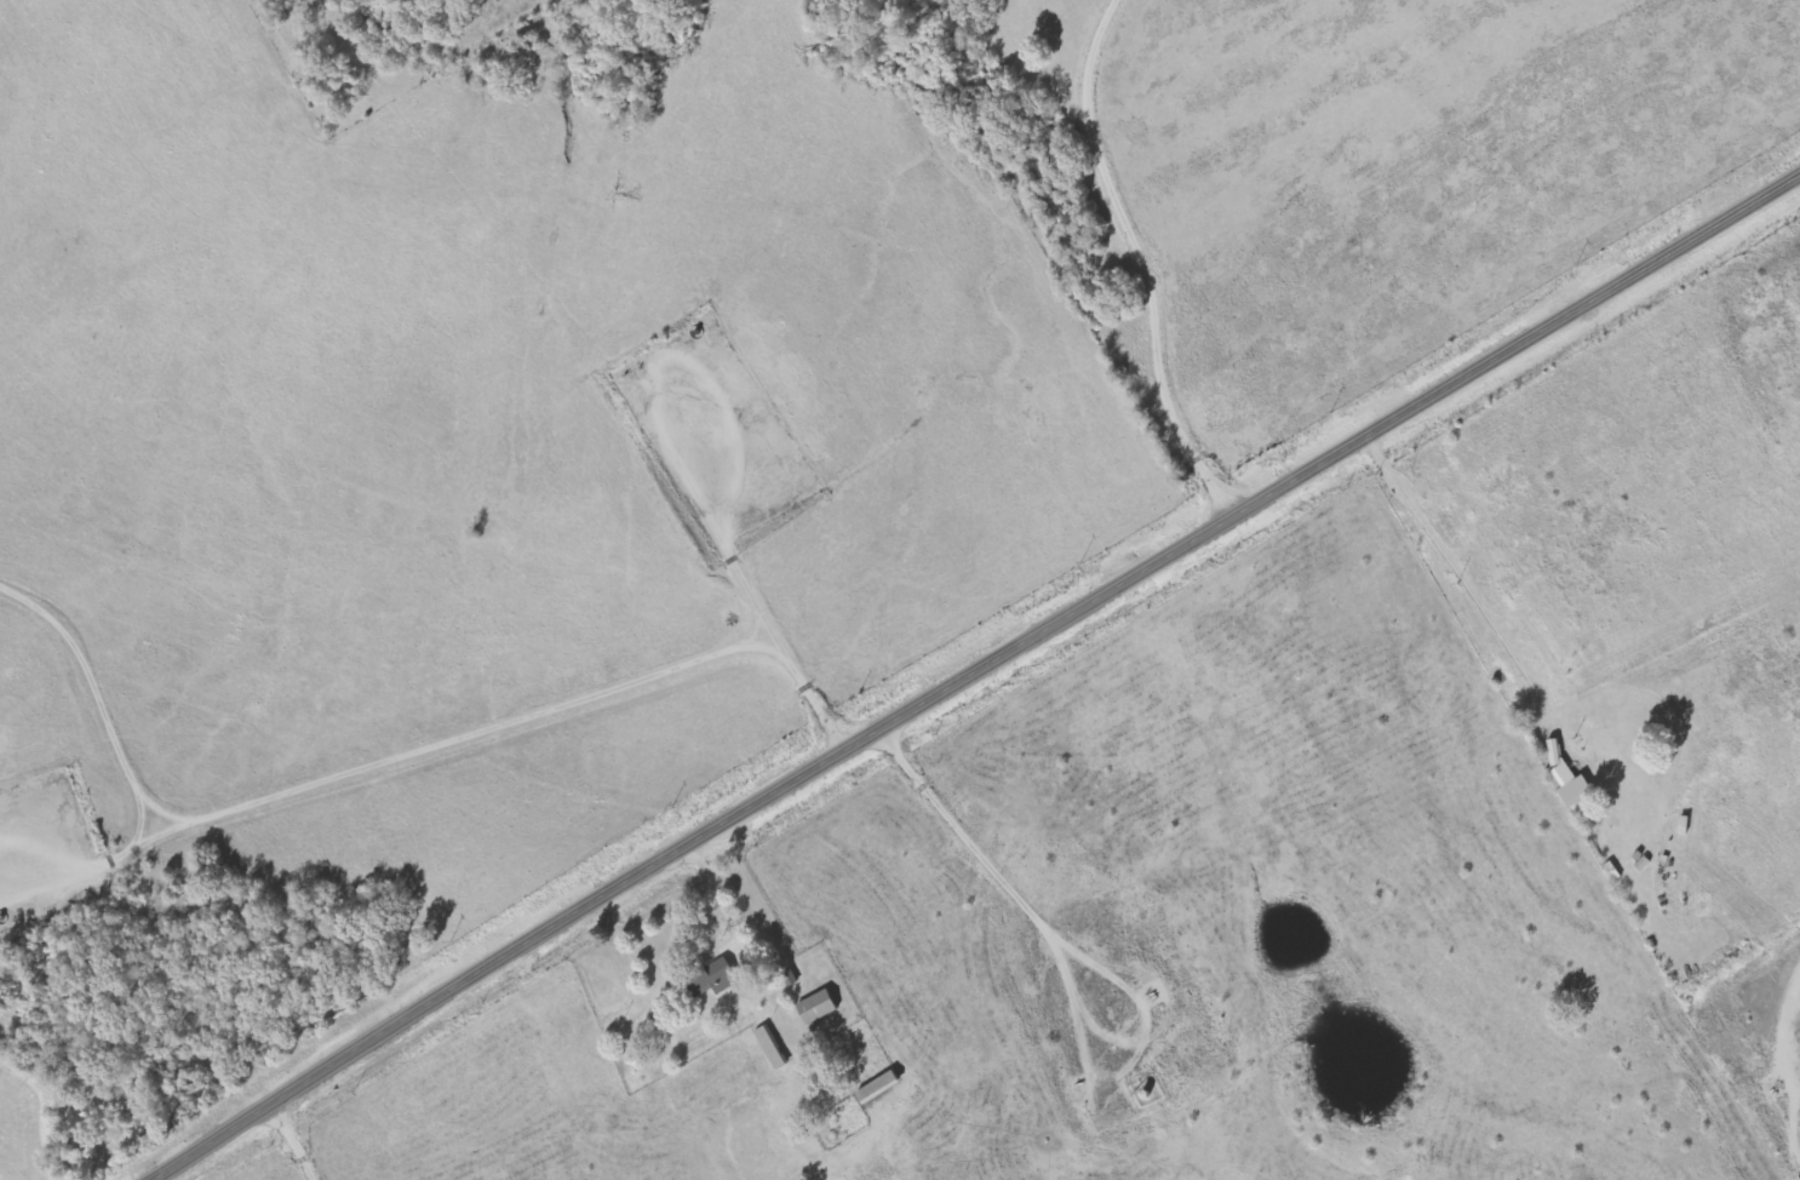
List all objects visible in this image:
road: (969, 670)
building: (1570, 778)
building: (820, 1008)
building: (773, 1049)
building: (881, 1088)

